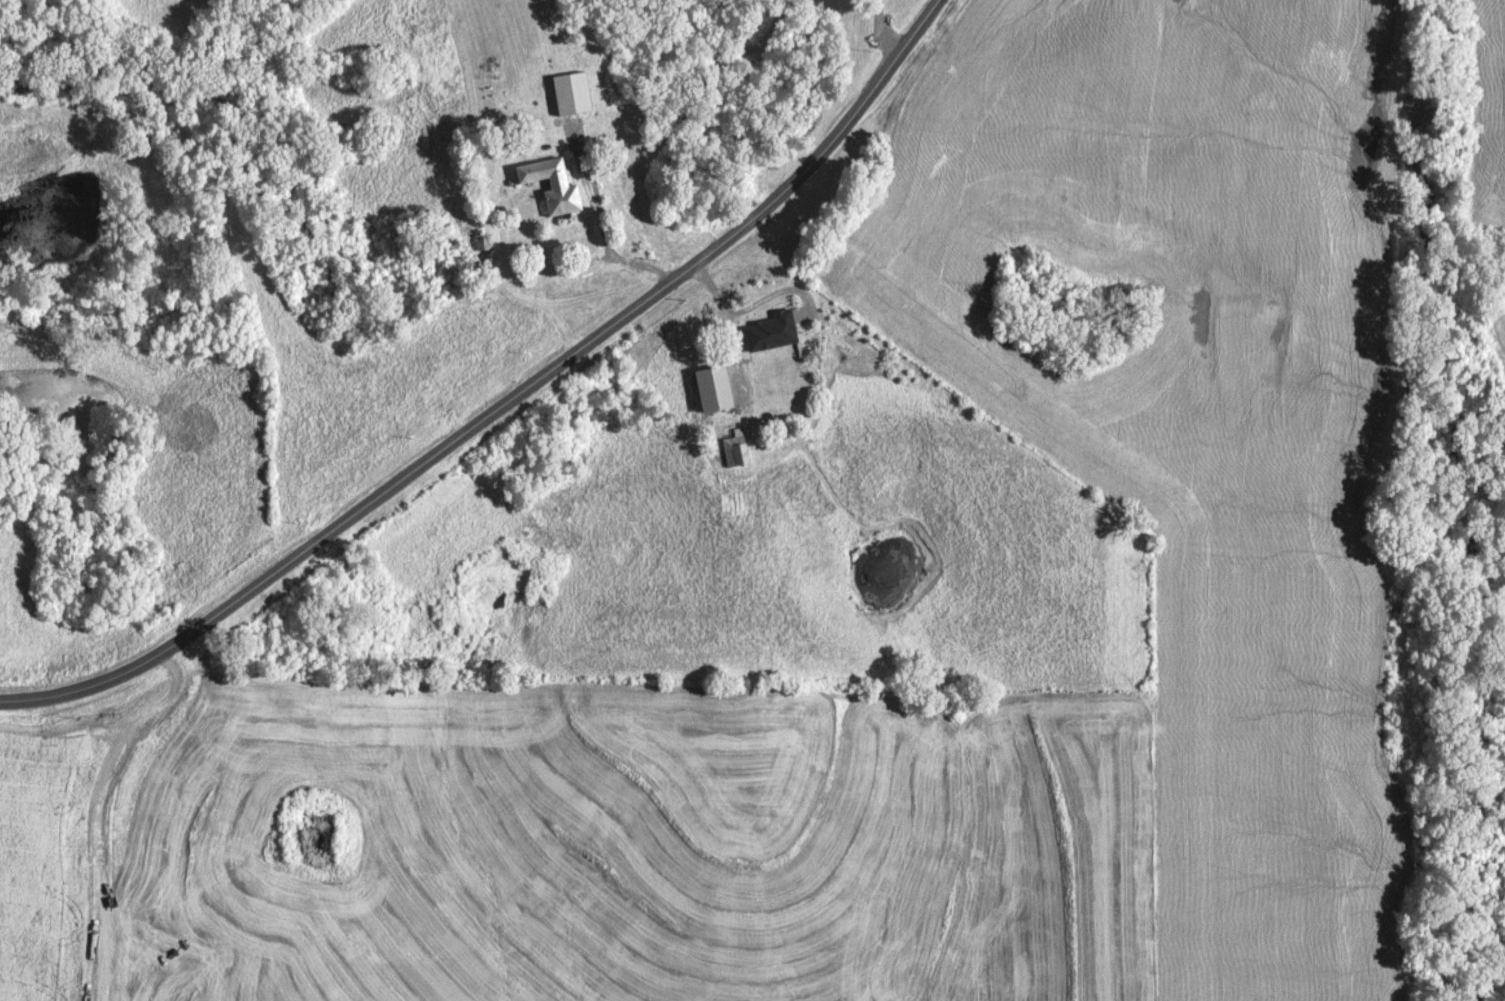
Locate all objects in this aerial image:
road: (920, 28)
road: (884, 29)
building: (556, 185)
road: (753, 303)
building: (770, 320)
road: (580, 342)
building: (778, 357)
building: (738, 384)
building: (739, 451)
road: (122, 664)

